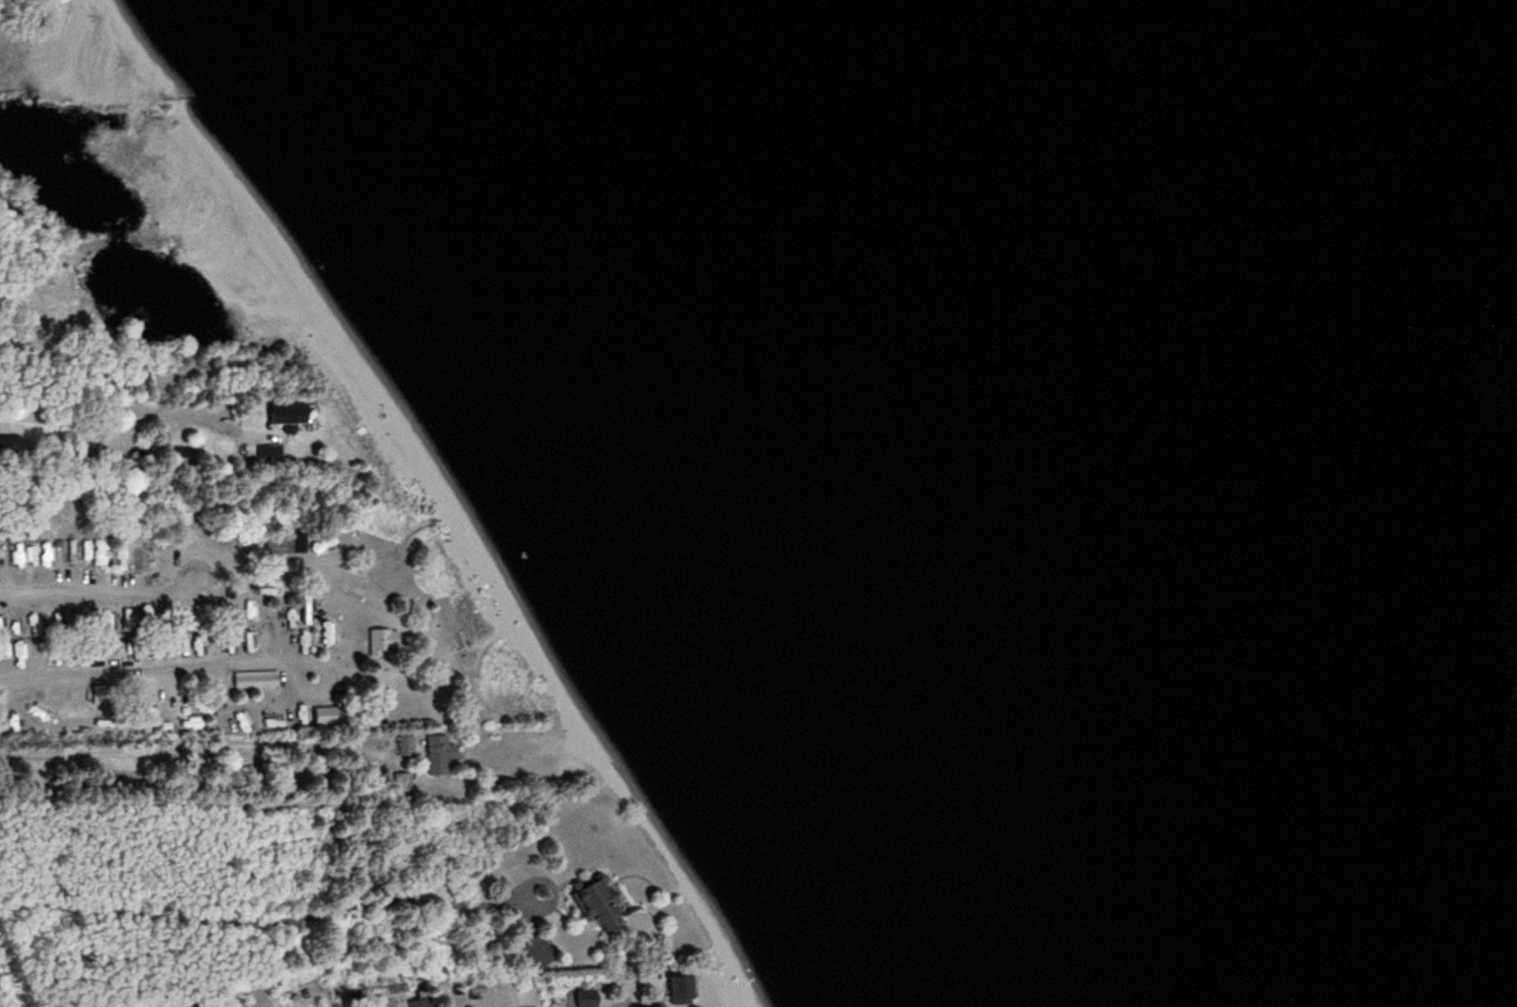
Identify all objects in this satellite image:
building: (278, 415)
building: (263, 455)
building: (281, 543)
road: (92, 596)
building: (147, 621)
building: (127, 625)
building: (240, 642)
building: (377, 643)
building: (132, 651)
road: (144, 671)
building: (255, 681)
road: (331, 690)
building: (199, 706)
building: (319, 717)
building: (403, 748)
building: (432, 755)
building: (399, 784)
building: (588, 904)
road: (262, 926)
building: (532, 952)
building: (674, 986)
building: (415, 1004)
building: (141, 1005)

